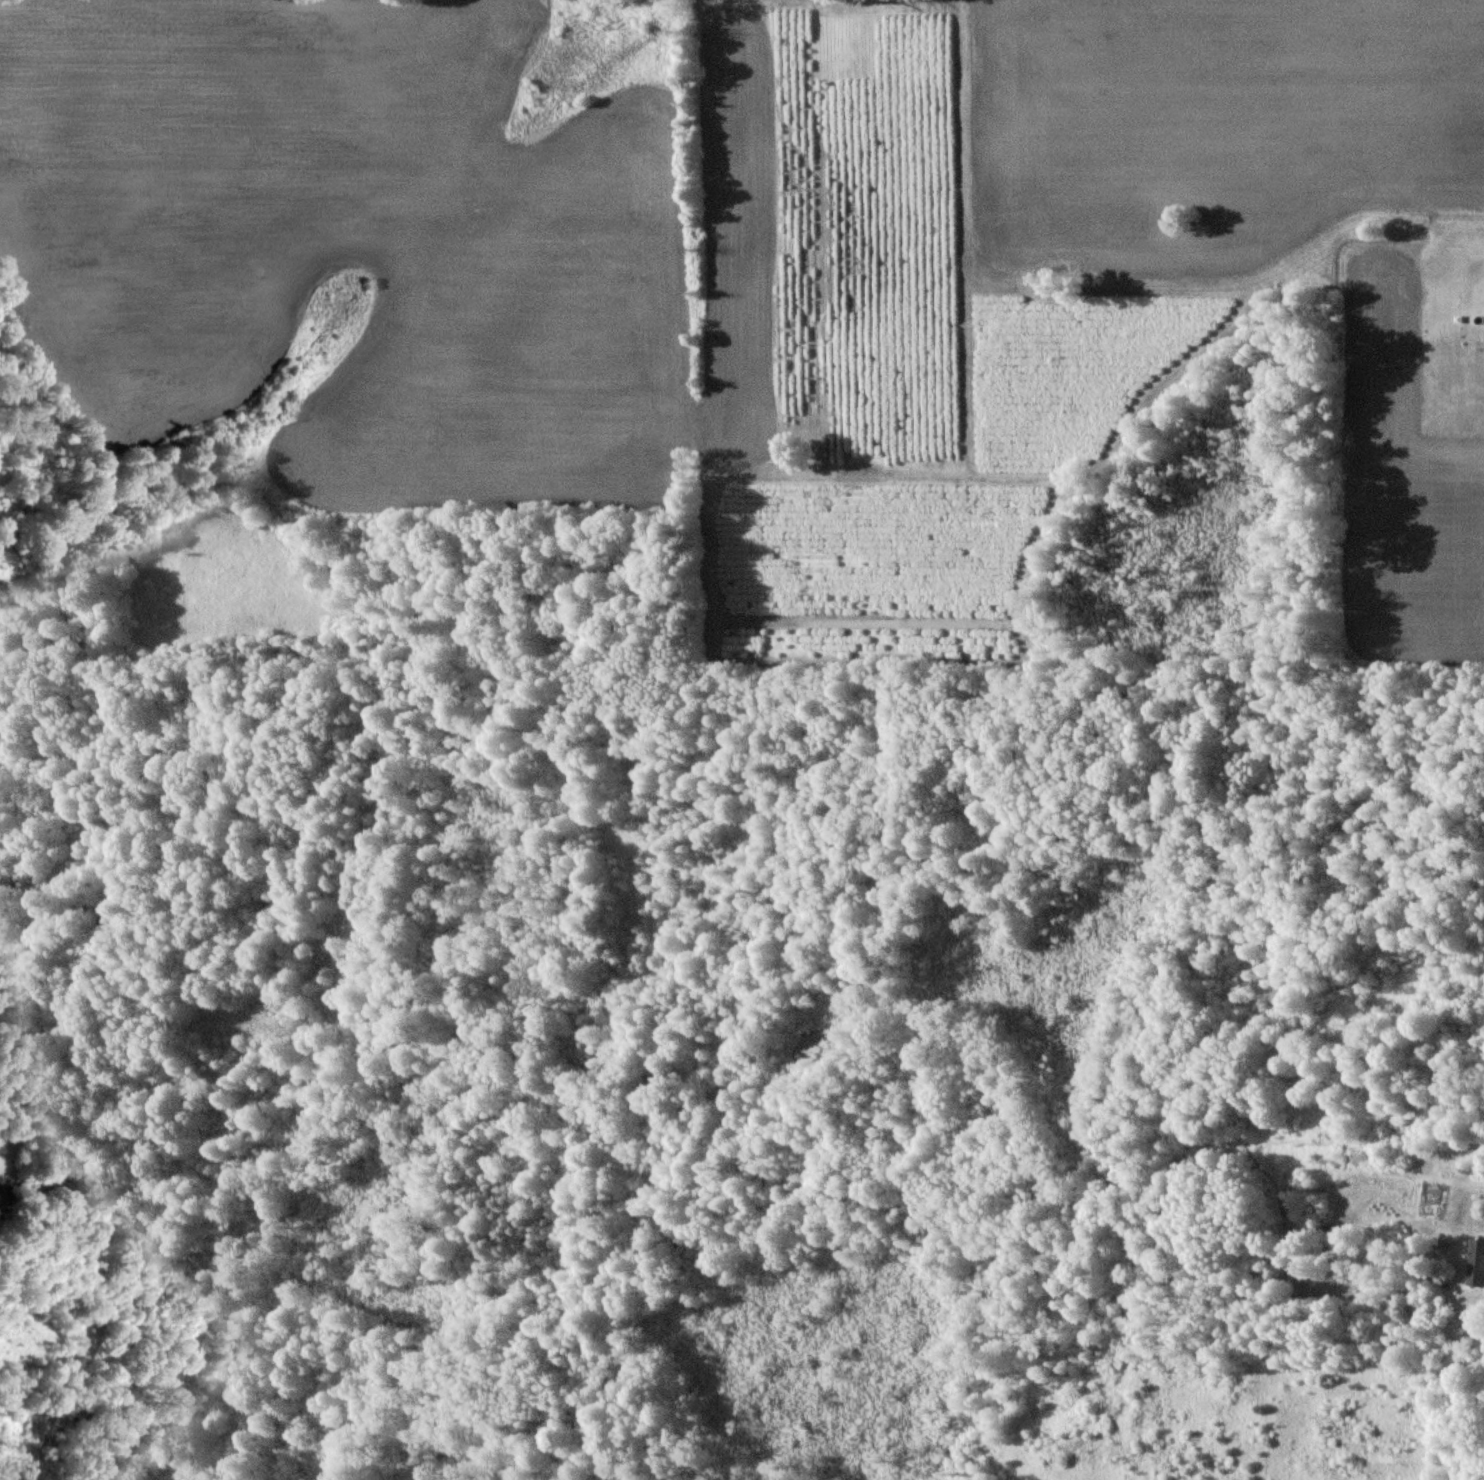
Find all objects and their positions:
building: (1476, 1262)

